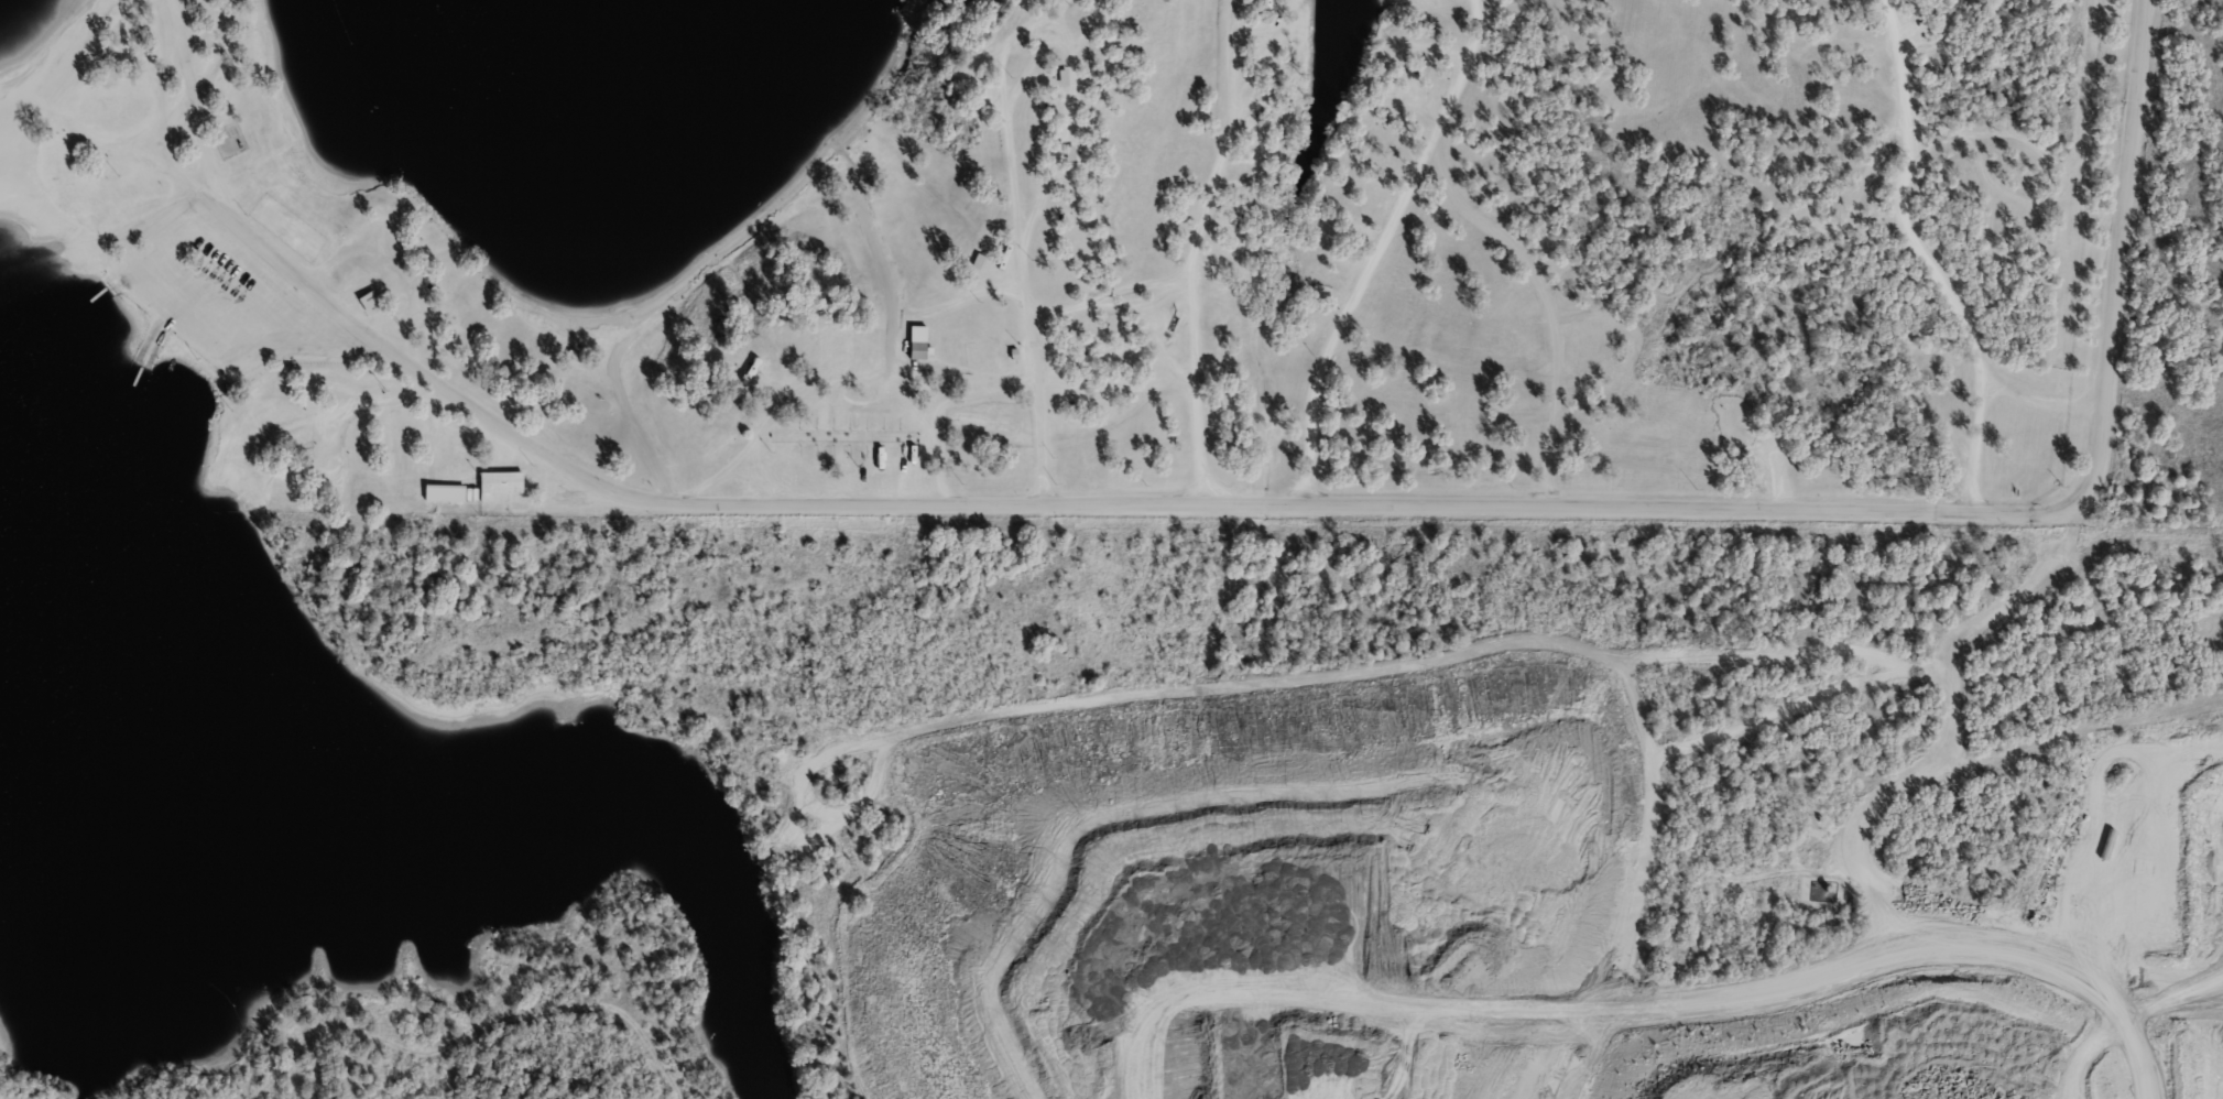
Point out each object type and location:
road: (1946, 24)
building: (1061, 75)
road: (1069, 98)
road: (120, 162)
road: (760, 230)
road: (1379, 246)
road: (1195, 253)
road: (1926, 258)
road: (1017, 275)
park: (1179, 279)
building: (368, 301)
road: (1547, 303)
building: (917, 340)
building: (835, 350)
road: (1197, 389)
road: (2047, 390)
road: (911, 410)
road: (770, 413)
road: (825, 477)
building: (498, 481)
road: (760, 490)
road: (1242, 498)
road: (521, 507)
road: (1797, 846)
road: (2042, 934)
road: (1683, 960)
road: (466, 1021)
road: (461, 1034)
road: (415, 1052)

